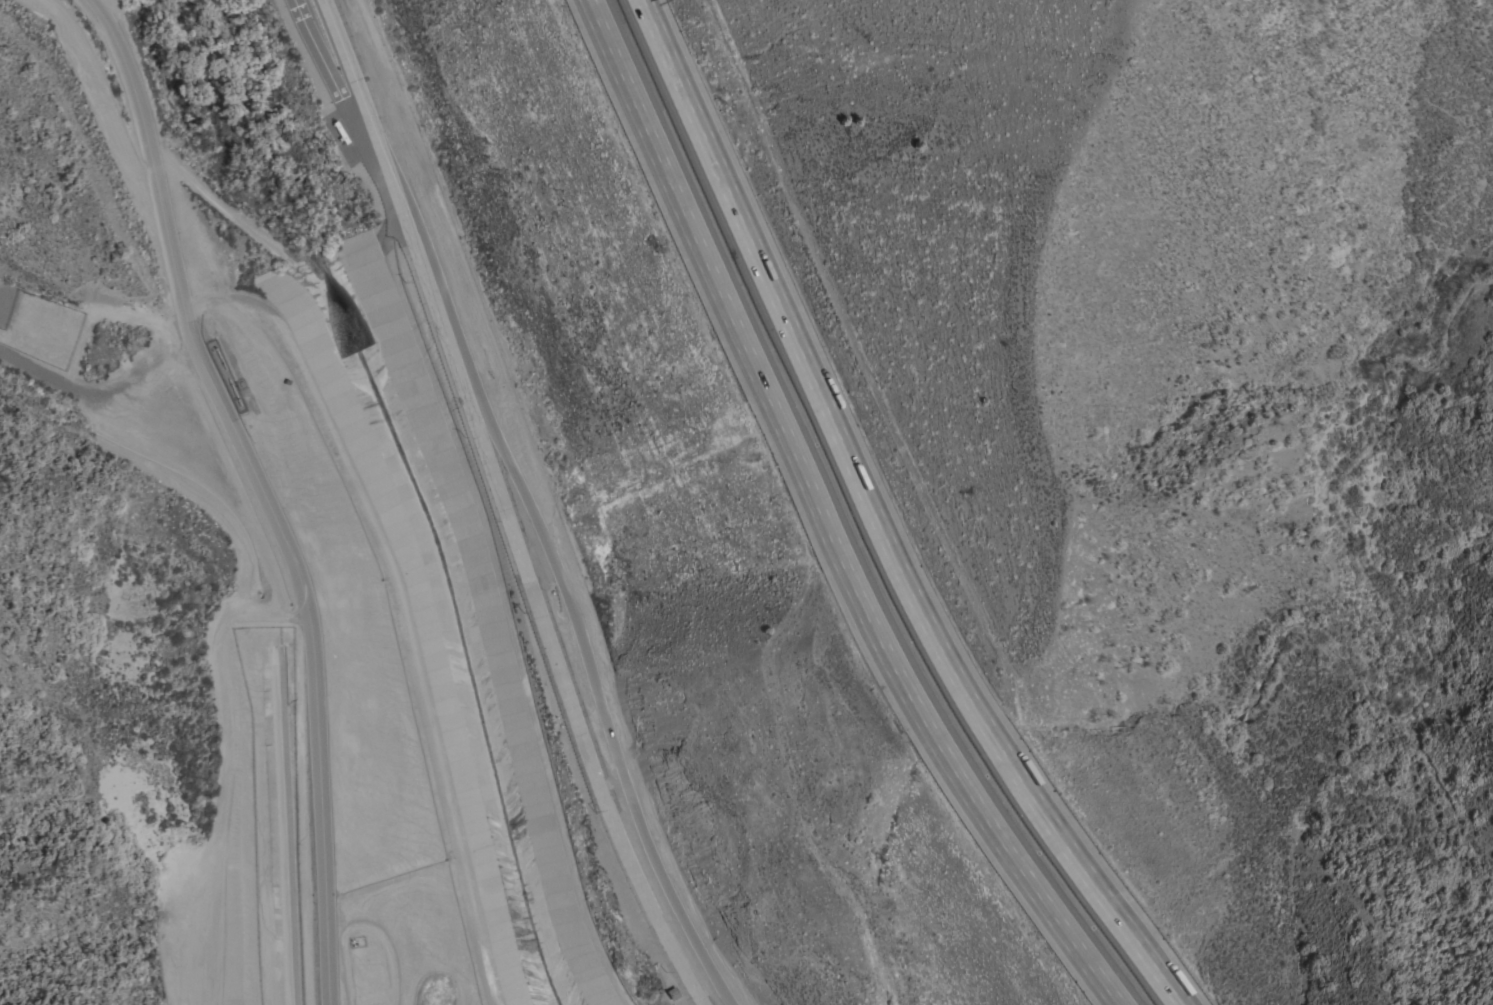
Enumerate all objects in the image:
road: (369, 106)
road: (461, 261)
road: (264, 487)
road: (817, 519)
road: (877, 521)
road: (575, 609)
road: (543, 615)

